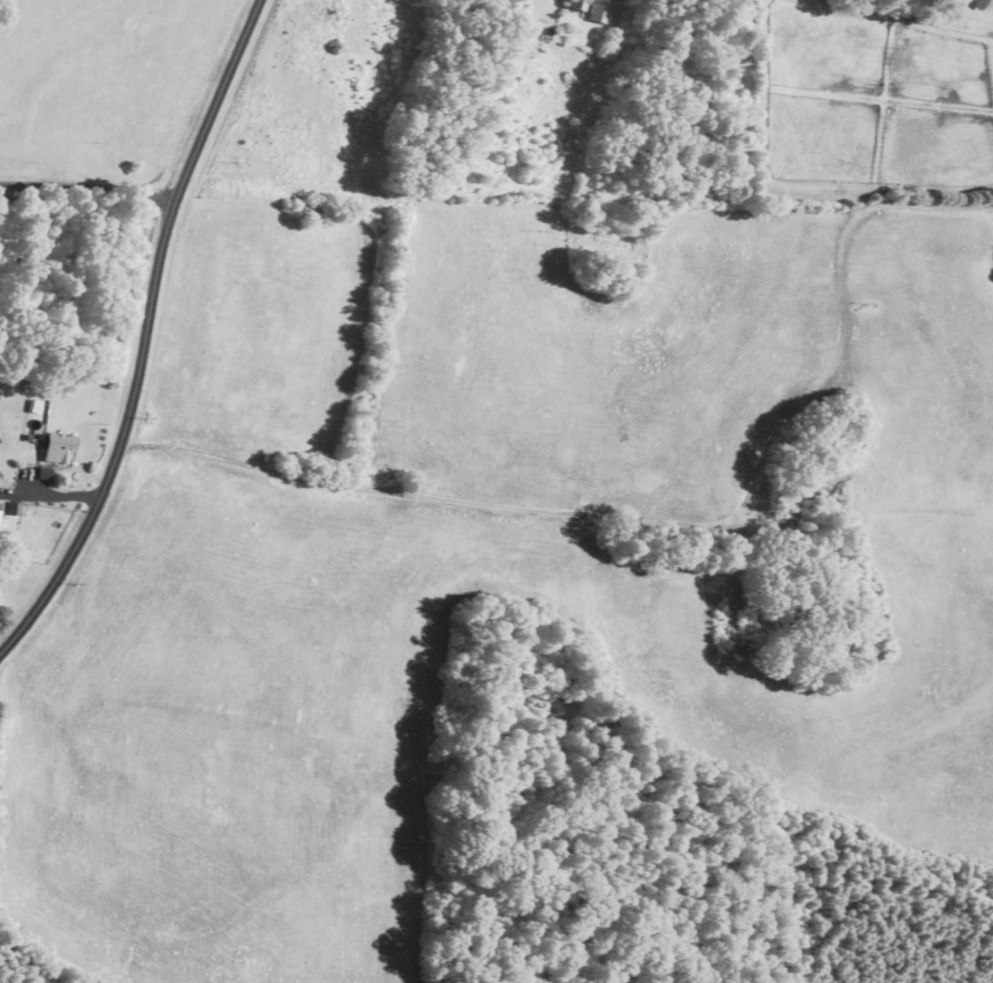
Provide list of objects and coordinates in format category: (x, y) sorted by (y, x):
road: (88, 188)
road: (146, 336)
building: (59, 446)
road: (50, 494)
building: (0, 504)

